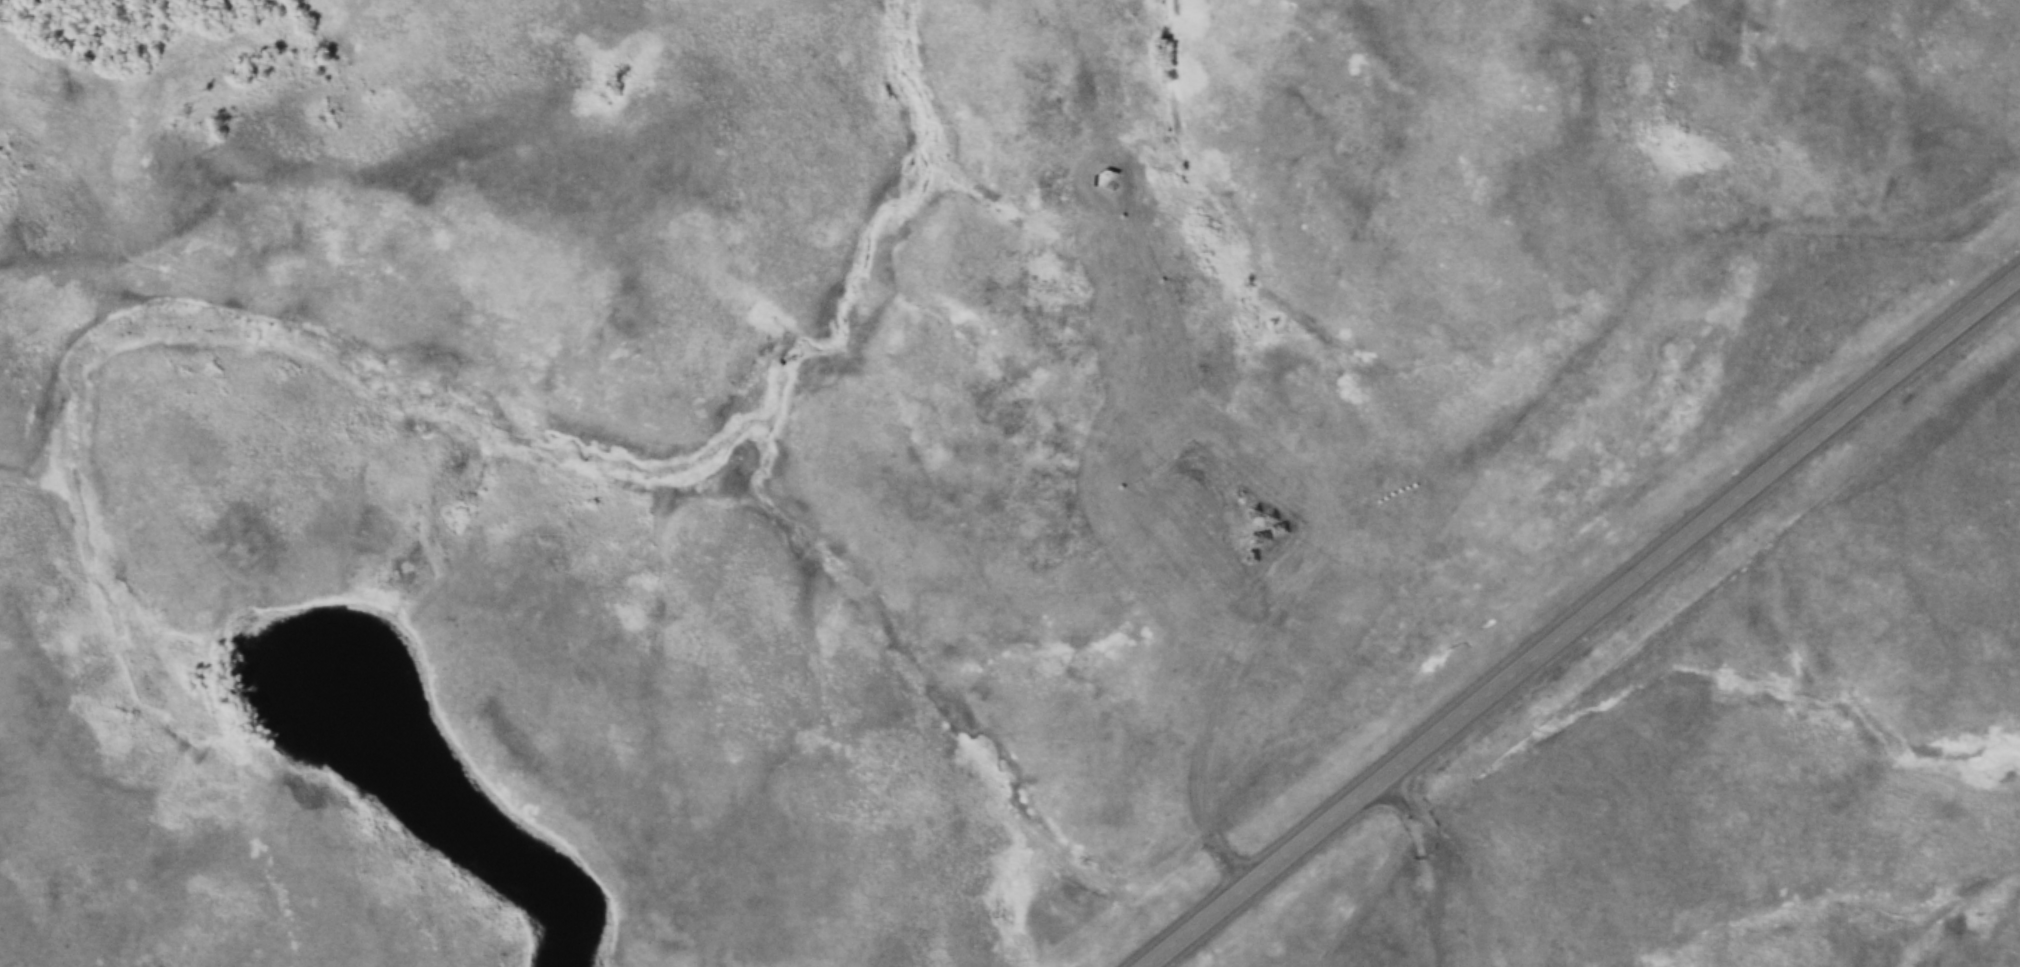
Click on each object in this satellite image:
road: (1579, 619)

